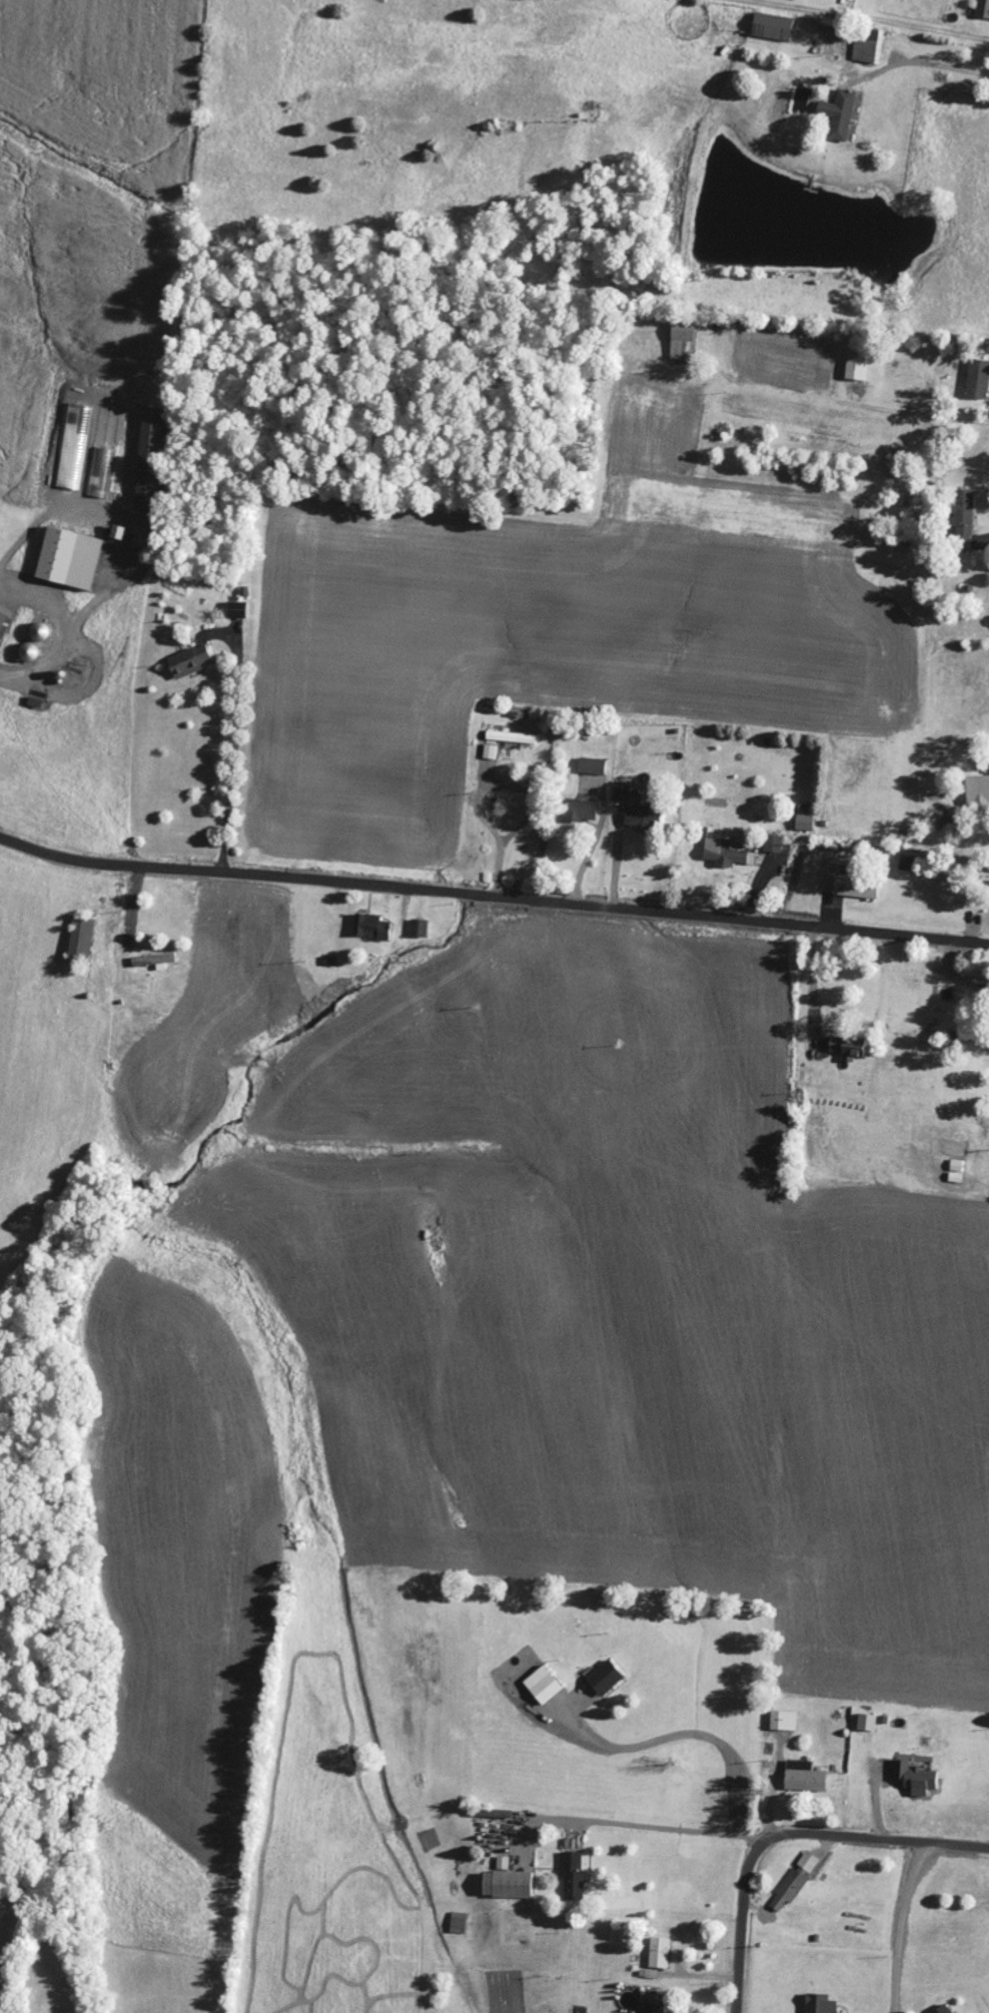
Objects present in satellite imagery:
building: (984, 9)
building: (774, 26)
building: (870, 45)
building: (842, 115)
building: (684, 341)
building: (858, 367)
building: (979, 379)
building: (150, 460)
building: (965, 521)
building: (71, 559)
building: (238, 610)
building: (4, 626)
building: (193, 662)
building: (513, 738)
building: (492, 752)
building: (594, 767)
building: (623, 792)
building: (979, 794)
building: (582, 811)
building: (642, 818)
building: (807, 823)
building: (775, 844)
building: (728, 854)
building: (857, 887)
road: (493, 896)
building: (373, 927)
building: (421, 929)
building: (83, 941)
building: (162, 961)
building: (849, 1049)
building: (608, 1678)
building: (545, 1685)
building: (786, 1721)
building: (869, 1722)
road: (747, 1752)
building: (918, 1778)
building: (808, 1781)
road: (730, 1822)
road: (789, 1836)
building: (810, 1862)
building: (504, 1863)
building: (575, 1877)
building: (509, 1885)
building: (790, 1891)
road: (903, 1926)
building: (660, 1953)
building: (822, 2004)
building: (652, 2007)
building: (946, 2009)

